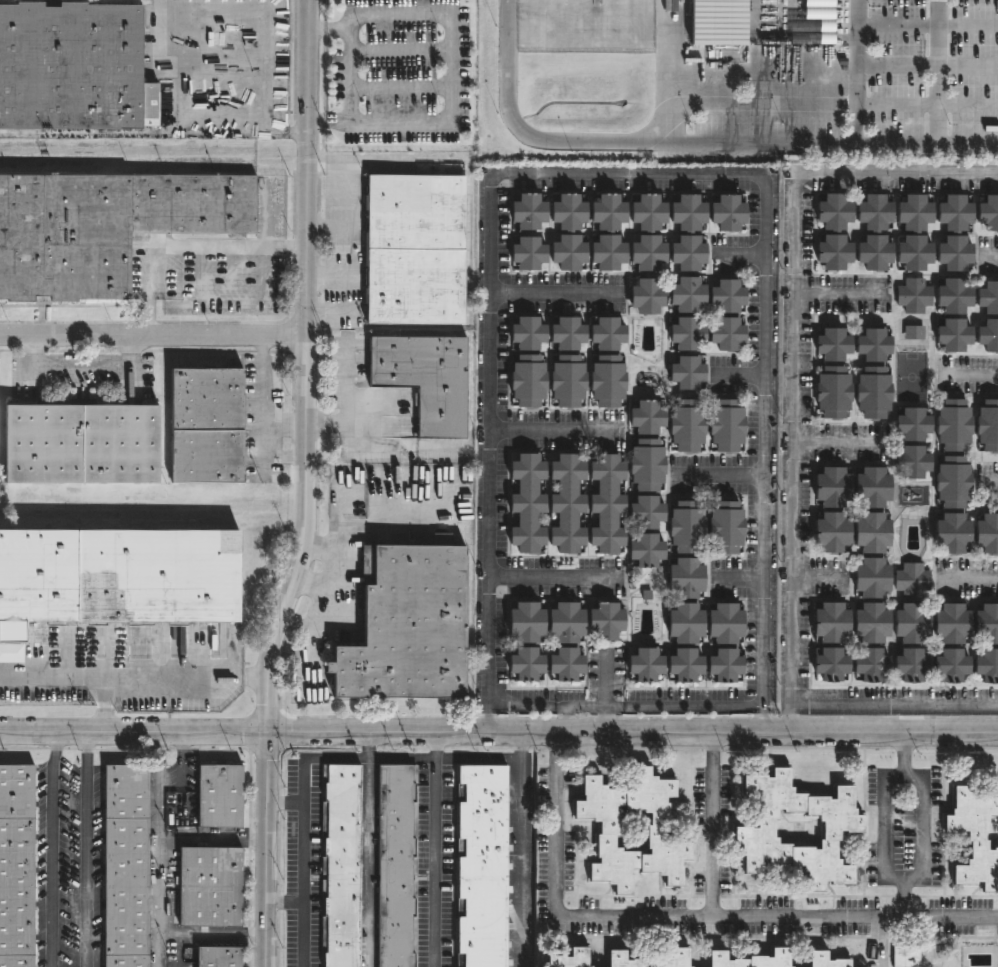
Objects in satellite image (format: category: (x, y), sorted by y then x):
building: (716, 21)
building: (813, 23)
road: (165, 34)
building: (71, 66)
road: (856, 72)
road: (938, 72)
road: (349, 76)
road: (690, 145)
road: (896, 173)
road: (625, 175)
building: (526, 210)
building: (567, 211)
building: (606, 211)
building: (646, 211)
building: (833, 211)
building: (988, 211)
building: (686, 212)
building: (726, 212)
building: (873, 212)
building: (913, 212)
building: (954, 212)
building: (103, 225)
road: (189, 248)
building: (413, 248)
building: (567, 251)
building: (832, 251)
building: (526, 252)
building: (606, 252)
building: (646, 252)
building: (686, 252)
building: (873, 252)
building: (913, 252)
building: (953, 252)
road: (553, 294)
building: (686, 294)
road: (838, 294)
building: (645, 295)
building: (726, 295)
building: (913, 295)
building: (953, 295)
building: (988, 297)
building: (525, 333)
building: (565, 333)
building: (605, 333)
building: (685, 333)
building: (726, 333)
building: (953, 334)
building: (988, 334)
road: (154, 335)
building: (832, 344)
building: (872, 344)
road: (308, 368)
building: (685, 372)
road: (88, 373)
road: (968, 376)
building: (422, 379)
road: (348, 380)
building: (525, 380)
building: (566, 380)
building: (606, 381)
building: (831, 391)
building: (872, 391)
road: (261, 401)
building: (644, 417)
road: (284, 423)
building: (912, 424)
building: (952, 424)
building: (202, 425)
building: (685, 425)
building: (725, 425)
building: (987, 425)
road: (551, 430)
road: (389, 432)
building: (77, 443)
road: (761, 443)
road: (488, 445)
road: (833, 445)
road: (790, 452)
road: (284, 458)
building: (911, 461)
building: (645, 464)
road: (717, 476)
road: (988, 480)
building: (952, 482)
building: (831, 487)
building: (871, 487)
building: (525, 503)
building: (565, 503)
building: (604, 503)
railway: (135, 504)
building: (645, 511)
building: (724, 526)
building: (684, 527)
road: (372, 530)
building: (831, 532)
building: (871, 532)
building: (951, 533)
building: (986, 533)
building: (644, 550)
building: (115, 578)
building: (684, 578)
building: (870, 578)
road: (970, 578)
road: (555, 579)
building: (911, 580)
road: (812, 582)
road: (313, 586)
road: (323, 612)
building: (604, 621)
building: (524, 622)
building: (564, 622)
building: (830, 622)
building: (684, 623)
building: (724, 623)
building: (871, 623)
building: (911, 623)
building: (950, 623)
building: (986, 624)
building: (404, 626)
road: (299, 627)
building: (524, 664)
building: (644, 664)
building: (830, 664)
building: (564, 665)
building: (683, 665)
building: (723, 665)
building: (870, 665)
building: (910, 665)
building: (950, 665)
building: (986, 666)
road: (135, 679)
road: (103, 705)
road: (521, 706)
road: (692, 706)
road: (559, 707)
road: (572, 708)
road: (605, 710)
road: (893, 710)
road: (761, 722)
road: (488, 723)
road: (133, 732)
road: (632, 732)
road: (442, 759)
building: (216, 796)
road: (713, 823)
road: (885, 823)
road: (923, 828)
building: (752, 830)
road: (302, 831)
building: (657, 831)
building: (973, 839)
road: (52, 849)
road: (86, 849)
road: (155, 849)
road: (268, 849)
road: (366, 849)
road: (434, 849)
road: (519, 849)
building: (395, 865)
building: (15, 866)
building: (123, 866)
building: (339, 866)
building: (479, 866)
building: (206, 888)
road: (683, 914)
building: (904, 956)
building: (215, 957)
building: (567, 959)
building: (648, 960)
building: (750, 960)
building: (823, 961)

